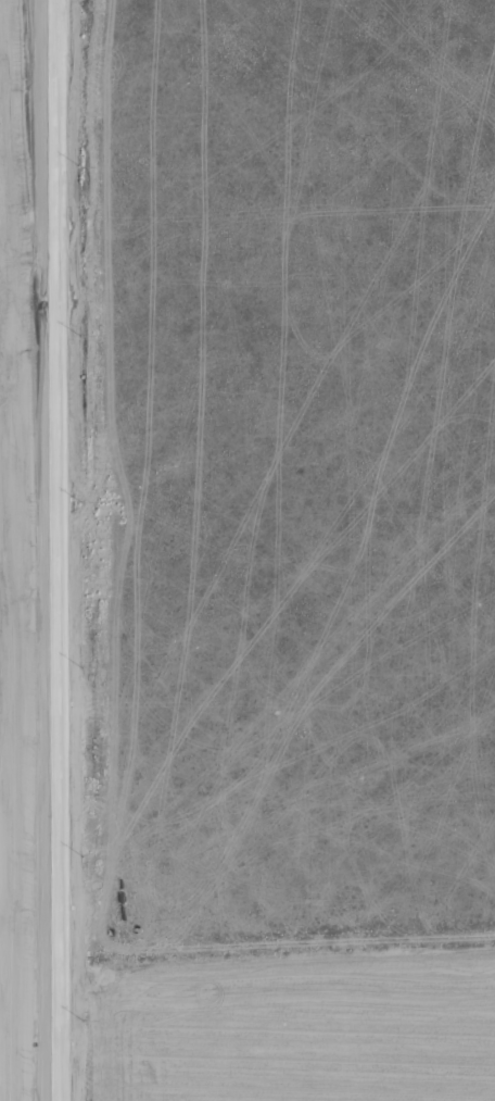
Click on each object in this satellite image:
road: (61, 550)

